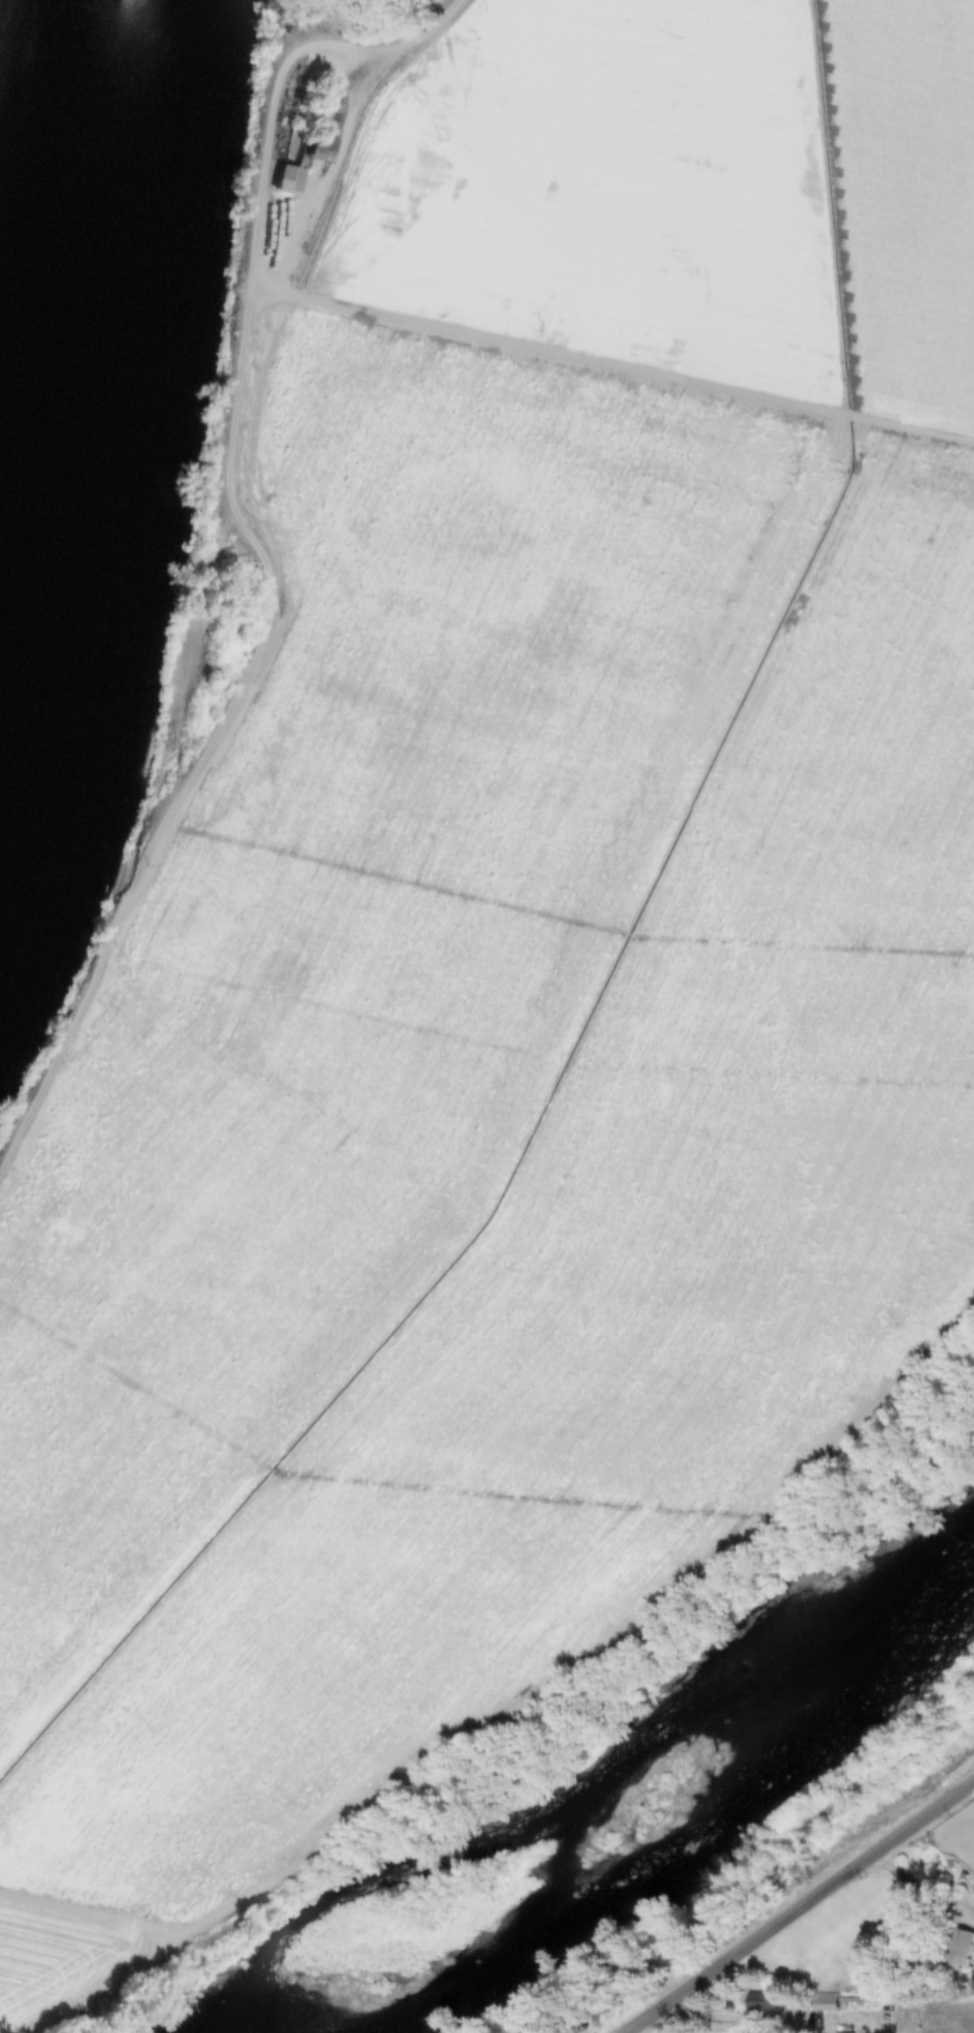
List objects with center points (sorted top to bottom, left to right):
building: (324, 129)
building: (286, 181)
river: (49, 197)
road: (253, 540)
road: (527, 1708)
road: (925, 1889)
road: (803, 1905)
building: (961, 1947)
building: (822, 2002)
building: (766, 2005)
road: (768, 2018)
road: (645, 2031)

